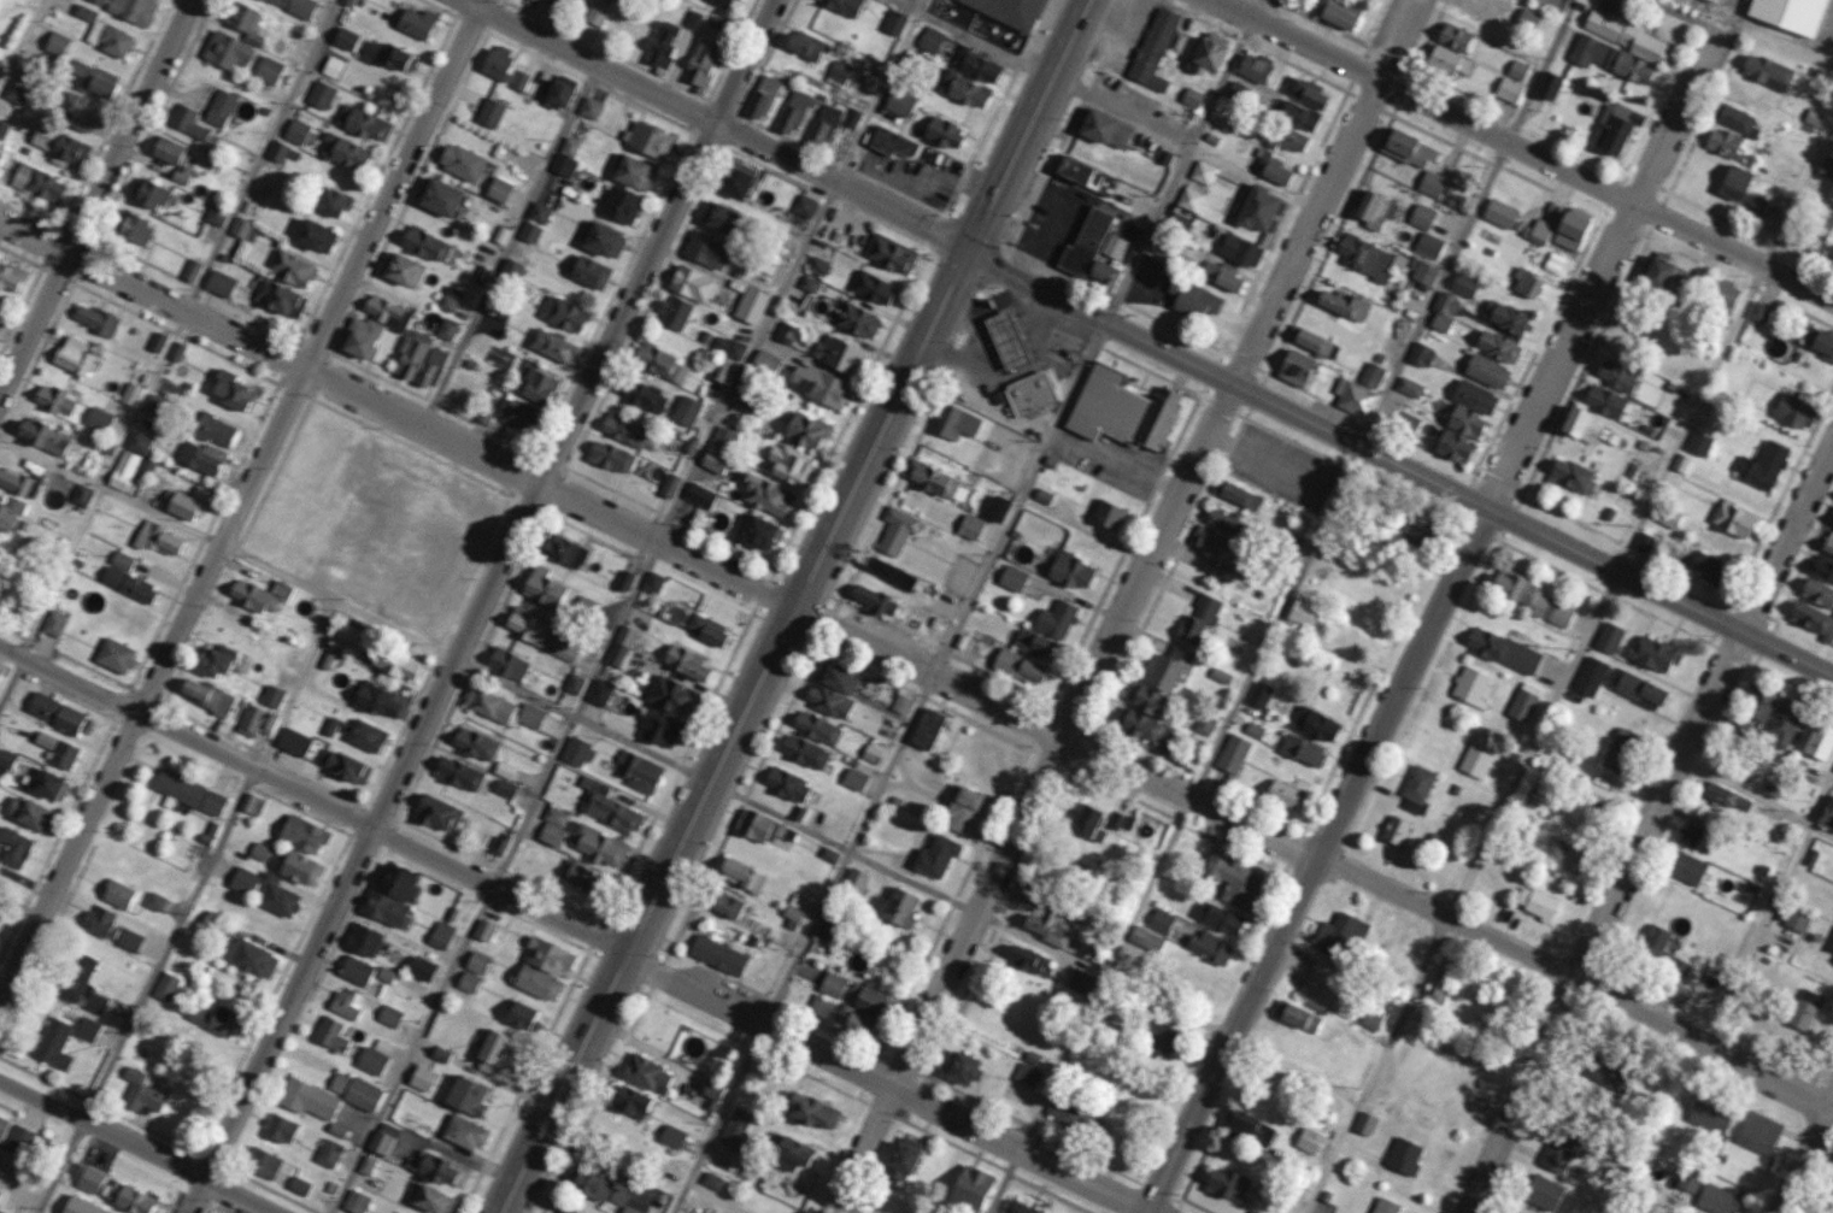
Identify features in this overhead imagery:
building: (1719, 0)
building: (98, 1)
building: (296, 5)
building: (133, 10)
building: (1014, 11)
building: (1338, 12)
building: (1788, 12)
building: (595, 14)
building: (1529, 17)
building: (693, 19)
building: (246, 22)
building: (415, 22)
building: (105, 33)
building: (1623, 34)
building: (345, 37)
building: (932, 39)
road: (974, 39)
building: (1458, 39)
building: (662, 42)
road: (19, 43)
building: (803, 43)
building: (57, 45)
building: (1158, 47)
building: (227, 49)
building: (1206, 54)
building: (389, 55)
building: (1447, 59)
building: (1611, 59)
building: (497, 61)
building: (700, 63)
building: (331, 66)
building: (1255, 66)
building: (268, 69)
building: (971, 69)
building: (1517, 70)
building: (81, 71)
building: (839, 71)
building: (1767, 71)
building: (519, 80)
building: (102, 82)
building: (1549, 84)
building: (1509, 89)
building: (968, 92)
building: (1305, 92)
building: (558, 93)
building: (13, 94)
building: (321, 94)
building: (762, 98)
building: (1192, 98)
building: (899, 101)
building: (219, 107)
building: (591, 107)
building: (78, 111)
building: (490, 112)
building: (792, 112)
building: (1298, 116)
building: (853, 117)
building: (1733, 117)
building: (1814, 117)
building: (188, 122)
building: (363, 122)
building: (823, 123)
road: (716, 124)
road: (1030, 125)
building: (1103, 126)
building: (1616, 126)
building: (2, 128)
building: (296, 131)
building: (942, 131)
building: (1286, 137)
building: (650, 139)
building: (891, 141)
building: (1723, 142)
building: (59, 143)
building: (570, 147)
road: (1518, 147)
building: (1409, 148)
building: (343, 149)
building: (277, 151)
building: (0, 155)
building: (171, 157)
building: (462, 161)
building: (563, 165)
building: (1826, 167)
building: (634, 172)
building: (1203, 172)
building: (1086, 175)
building: (734, 179)
building: (1735, 182)
building: (37, 183)
building: (1432, 184)
building: (499, 189)
building: (148, 193)
road: (94, 196)
building: (440, 196)
building: (1189, 199)
building: (331, 201)
building: (1756, 204)
building: (619, 205)
building: (804, 206)
building: (1258, 207)
building: (1375, 210)
road: (523, 212)
building: (539, 212)
building: (1500, 213)
building: (216, 214)
road: (1308, 214)
building: (719, 216)
building: (1422, 216)
building: (135, 229)
building: (243, 229)
building: (1570, 229)
building: (1540, 231)
building: (529, 232)
building: (1821, 234)
building: (313, 235)
building: (500, 235)
building: (603, 239)
building: (425, 243)
building: (1085, 243)
building: (1429, 245)
building: (1114, 246)
traffic signals: (970, 249)
building: (1240, 249)
building: (707, 251)
building: (889, 253)
building: (1364, 257)
building: (1399, 261)
building: (817, 265)
building: (513, 267)
building: (292, 269)
building: (401, 269)
building: (192, 270)
road: (789, 270)
building: (588, 271)
building: (1424, 272)
building: (1103, 273)
building: (1222, 275)
building: (1667, 275)
building: (481, 276)
building: (10, 277)
building: (1527, 282)
building: (219, 283)
building: (692, 283)
building: (807, 283)
building: (1463, 285)
building: (871, 287)
building: (1723, 294)
building: (280, 298)
building: (448, 298)
building: (1197, 300)
building: (1343, 304)
building: (751, 305)
building: (386, 311)
building: (674, 311)
building: (1444, 311)
building: (1758, 312)
building: (563, 313)
building: (1505, 316)
building: (95, 319)
building: (857, 320)
building: (447, 328)
building: (786, 332)
building: (360, 336)
building: (1006, 340)
building: (1312, 341)
building: (157, 342)
building: (1820, 342)
road: (169, 346)
building: (553, 346)
building: (728, 346)
building: (1498, 346)
building: (176, 352)
building: (836, 353)
building: (411, 354)
building: (1421, 354)
building: (74, 357)
building: (765, 360)
building: (660, 363)
building: (430, 367)
building: (1296, 367)
building: (723, 369)
building: (1487, 370)
building: (1373, 375)
building: (1617, 375)
building: (818, 383)
building: (536, 387)
building: (1410, 387)
building: (230, 389)
building: (1029, 393)
building: (130, 394)
building: (642, 395)
building: (1474, 396)
building: (1356, 398)
building: (54, 399)
building: (1605, 400)
building: (153, 405)
building: (686, 410)
building: (1122, 410)
building: (1794, 411)
building: (484, 413)
building: (513, 414)
road: (395, 417)
building: (98, 419)
building: (1409, 420)
building: (1465, 420)
building: (954, 423)
building: (1582, 424)
building: (217, 430)
building: (623, 430)
building: (805, 430)
building: (42, 436)
building: (723, 438)
building: (139, 442)
building: (1699, 443)
building: (1453, 446)
road: (1828, 455)
building: (200, 457)
building: (610, 457)
building: (713, 460)
building: (787, 463)
building: (1681, 463)
road: (1400, 465)
building: (1763, 465)
building: (123, 470)
building: (1571, 475)
building: (18, 482)
building: (936, 482)
building: (669, 485)
building: (1238, 494)
building: (81, 495)
building: (699, 495)
building: (765, 495)
building: (1042, 495)
road: (240, 497)
building: (182, 505)
building: (997, 508)
building: (10, 512)
building: (1108, 514)
building: (1670, 517)
building: (417, 519)
building: (1733, 519)
building: (1831, 519)
building: (1223, 520)
building: (970, 526)
building: (1420, 526)
building: (895, 530)
building: (759, 532)
building: (158, 538)
building: (1645, 542)
building: (1214, 544)
building: (1828, 544)
building: (565, 550)
building: (121, 560)
building: (1709, 567)
building: (1822, 567)
building: (1070, 571)
building: (889, 572)
building: (1012, 578)
building: (623, 581)
building: (653, 582)
building: (128, 583)
building: (544, 587)
building: (1522, 593)
building: (1817, 593)
building: (259, 595)
building: (871, 599)
road: (1117, 605)
road: (483, 607)
road: (968, 607)
road: (1273, 608)
building: (1304, 612)
building: (1561, 613)
building: (1056, 619)
building: (1198, 619)
road: (1430, 620)
building: (1813, 620)
building: (53, 623)
building: (706, 629)
building: (540, 634)
building: (1609, 637)
building: (349, 640)
building: (1034, 643)
building: (622, 648)
building: (1503, 649)
building: (1655, 654)
building: (114, 655)
building: (213, 660)
building: (325, 660)
building: (395, 663)
building: (686, 663)
building: (506, 664)
building: (1020, 666)
building: (1168, 667)
building: (1221, 676)
building: (1591, 676)
building: (838, 677)
road: (1561, 677)
building: (574, 684)
building: (1471, 685)
building: (1635, 688)
building: (599, 693)
building: (206, 695)
building: (669, 695)
building: (1259, 695)
building: (271, 696)
building: (1146, 699)
building: (380, 700)
building: (828, 701)
building: (1524, 701)
building: (1759, 701)
building: (900, 703)
building: (503, 708)
building: (58, 713)
building: (255, 722)
building: (1139, 724)
building: (1315, 724)
building: (1205, 725)
building: (659, 728)
building: (816, 728)
building: (927, 728)
road: (734, 730)
building: (1255, 730)
building: (366, 735)
building: (43, 740)
building: (294, 741)
building: (1820, 741)
building: (475, 743)
building: (1302, 749)
building: (1618, 749)
building: (575, 750)
building: (804, 752)
building: (871, 753)
building: (1233, 754)
building: (63, 755)
building: (6, 759)
building: (1475, 762)
building: (343, 766)
road: (680, 766)
building: (505, 770)
building: (638, 771)
building: (459, 773)
building: (854, 778)
building: (1418, 783)
building: (46, 784)
building: (787, 785)
building: (505, 788)
building: (188, 793)
building: (1285, 795)
building: (1597, 795)
building: (1725, 796)
road: (312, 799)
road: (1755, 800)
building: (253, 805)
building: (607, 806)
building: (1415, 807)
building: (962, 808)
building: (29, 813)
building: (437, 813)
building: (1581, 815)
building: (1121, 822)
building: (1088, 823)
road: (1649, 824)
building: (553, 826)
building: (762, 828)
building: (1394, 832)
building: (302, 834)
building: (1696, 835)
building: (499, 846)
building: (13, 847)
building: (600, 847)
building: (259, 852)
building: (828, 854)
road: (1316, 854)
building: (936, 855)
building: (1573, 860)
building: (299, 868)
building: (1687, 868)
road: (488, 875)
building: (741, 875)
building: (580, 878)
building: (242, 881)
building: (857, 881)
building: (1233, 881)
building: (395, 883)
building: (117, 894)
building: (276, 896)
building: (154, 901)
building: (1535, 902)
building: (724, 903)
road: (1769, 905)
road: (187, 906)
building: (795, 907)
building: (386, 908)
building: (900, 908)
building: (1218, 918)
building: (98, 920)
building: (1798, 920)
building: (1161, 921)
building: (1046, 926)
building: (484, 930)
building: (827, 930)
building: (1340, 934)
building: (440, 935)
building: (129, 940)
building: (362, 940)
building: (1147, 940)
building: (1656, 940)
building: (1831, 946)
building: (1209, 948)
building: (718, 955)
building: (547, 956)
building: (248, 958)
building: (1026, 959)
building: (477, 962)
building: (1679, 967)
building: (421, 968)
building: (354, 970)
building: (384, 974)
building: (468, 982)
building: (1080, 982)
building: (1318, 982)
building: (536, 983)
building: (82, 984)
building: (1435, 984)
building: (832, 985)
building: (165, 987)
building: (1681, 994)
building: (871, 1002)
building: (342, 1006)
building: (1804, 1009)
building: (519, 1014)
building: (389, 1017)
building: (842, 1017)
building: (1297, 1017)
building: (212, 1018)
building: (1370, 1021)
building: (87, 1030)
building: (330, 1034)
building: (1159, 1040)
building: (53, 1044)
building: (490, 1050)
building: (374, 1058)
building: (962, 1067)
building: (1609, 1073)
building: (646, 1074)
building: (1027, 1074)
building: (421, 1078)
road: (886, 1079)
building: (140, 1091)
building: (354, 1091)
building: (712, 1093)
building: (466, 1096)
building: (307, 1099)
building: (1709, 1100)
building: (627, 1101)
building: (811, 1112)
building: (1068, 1113)
building: (1709, 1118)
building: (1365, 1124)
building: (2, 1125)
building: (735, 1127)
building: (1250, 1127)
building: (280, 1129)
building: (463, 1132)
building: (1759, 1132)
building: (671, 1136)
building: (383, 1138)
building: (19, 1140)
building: (1309, 1141)
road: (136, 1146)
building: (1558, 1149)
building: (328, 1153)
road: (1803, 1153)
building: (791, 1154)
building: (1404, 1156)
building: (901, 1160)
building: (262, 1162)
building: (366, 1165)
building: (441, 1170)
building: (89, 1179)
building: (1688, 1180)
building: (711, 1182)
building: (589, 1184)
building: (298, 1185)
building: (1227, 1185)
building: (970, 1188)
building: (1544, 1193)
building: (618, 1196)
building: (129, 1199)
road: (713, 1199)
building: (430, 1200)
building: (1717, 1200)
building: (354, 1202)
building: (81, 1206)
building: (635, 1206)
building: (1383, 1206)
building: (1017, 1208)
building: (562, 1211)
building: (0, 1212)
building: (1252, 1212)

